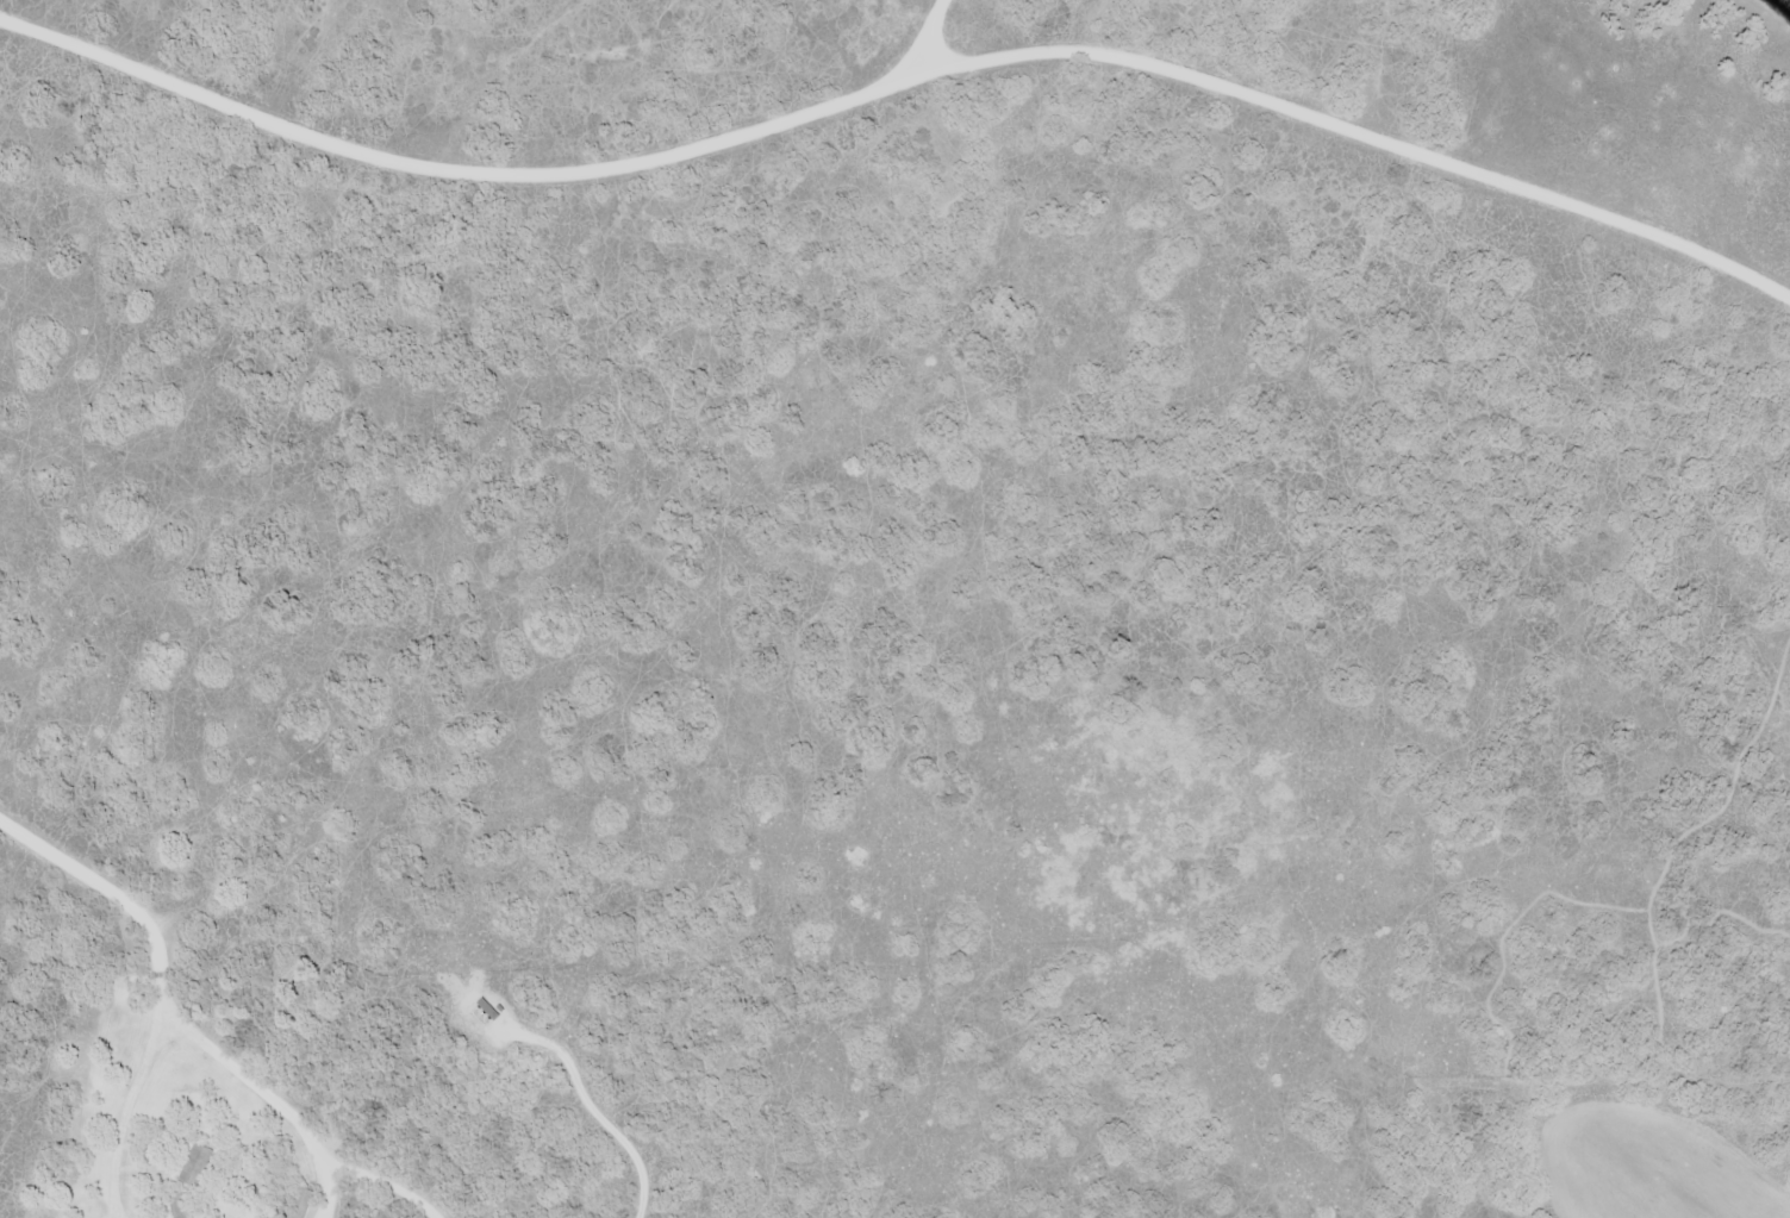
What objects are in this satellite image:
road: (141, 925)
road: (963, 952)
road: (214, 1094)
road: (133, 1160)
building: (195, 1164)

